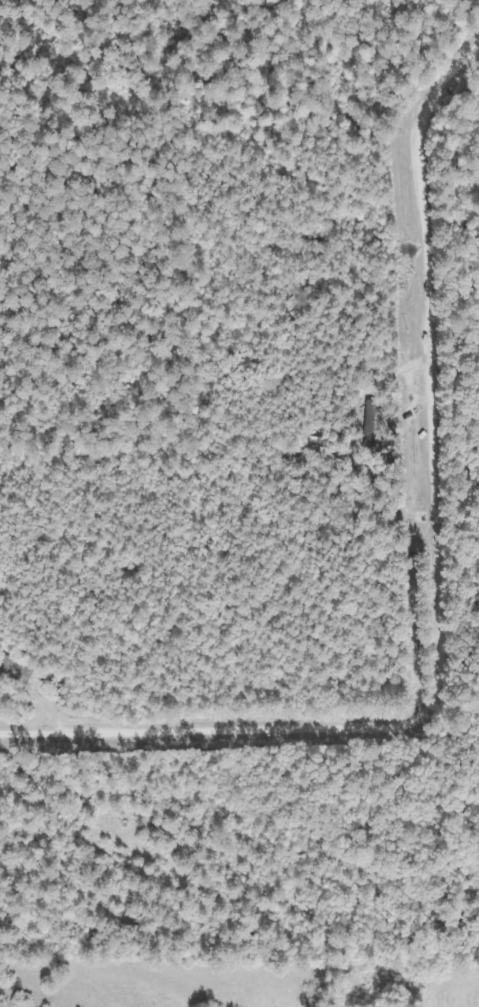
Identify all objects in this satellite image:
road: (438, 579)
building: (12, 672)

